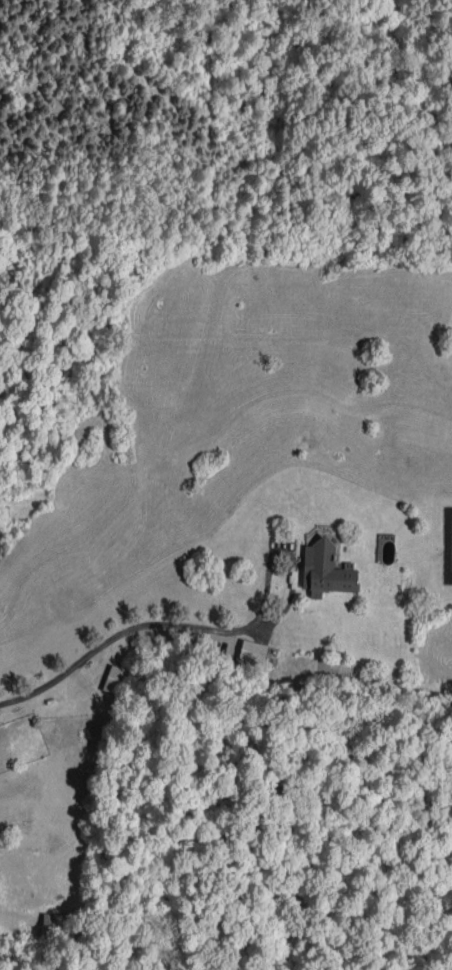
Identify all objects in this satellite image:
road: (291, 554)
building: (324, 569)
road: (119, 631)
building: (252, 651)
building: (115, 679)
building: (57, 925)

